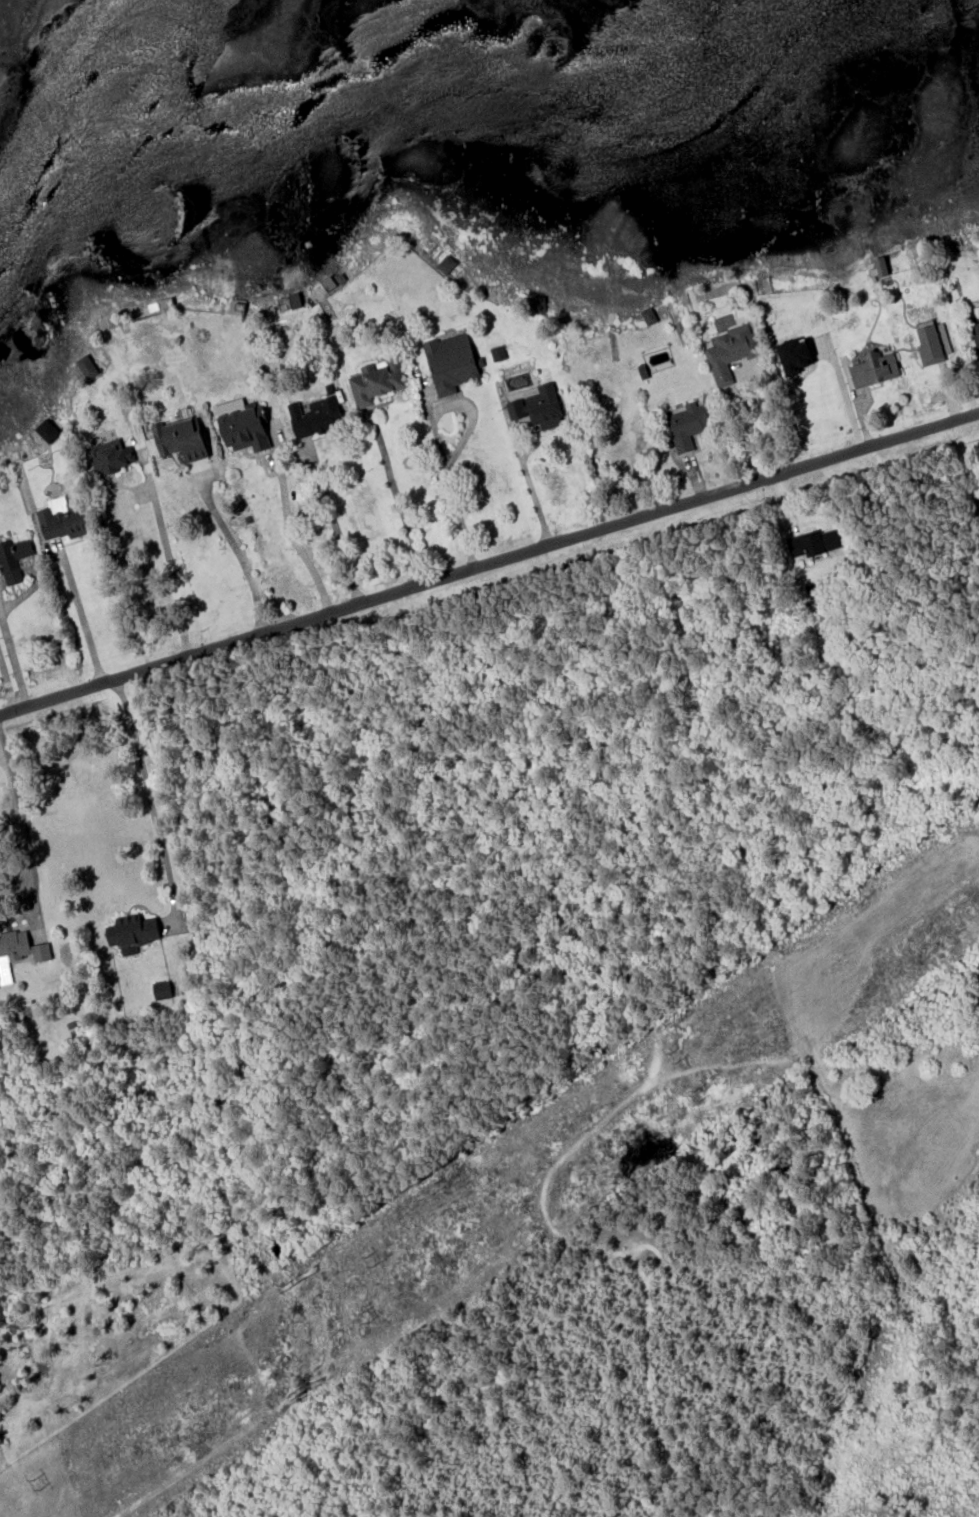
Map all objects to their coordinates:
building: (288, 301)
building: (648, 315)
building: (974, 326)
building: (932, 343)
building: (729, 346)
building: (497, 352)
building: (794, 355)
building: (450, 362)
building: (873, 368)
building: (376, 381)
road: (844, 396)
building: (538, 406)
building: (315, 416)
building: (687, 424)
building: (245, 427)
building: (180, 438)
building: (110, 456)
road: (532, 497)
building: (977, 499)
road: (455, 501)
road: (401, 508)
building: (62, 518)
road: (289, 533)
building: (814, 542)
building: (13, 558)
road: (243, 561)
road: (489, 563)
road: (171, 572)
road: (81, 614)
road: (14, 656)
road: (7, 685)
road: (150, 799)
road: (25, 830)
building: (132, 932)
building: (18, 951)
building: (165, 988)
power tower: (672, 1055)
power tower: (697, 1091)
power tower: (369, 1260)
power tower: (362, 1316)
power tower: (34, 1484)

